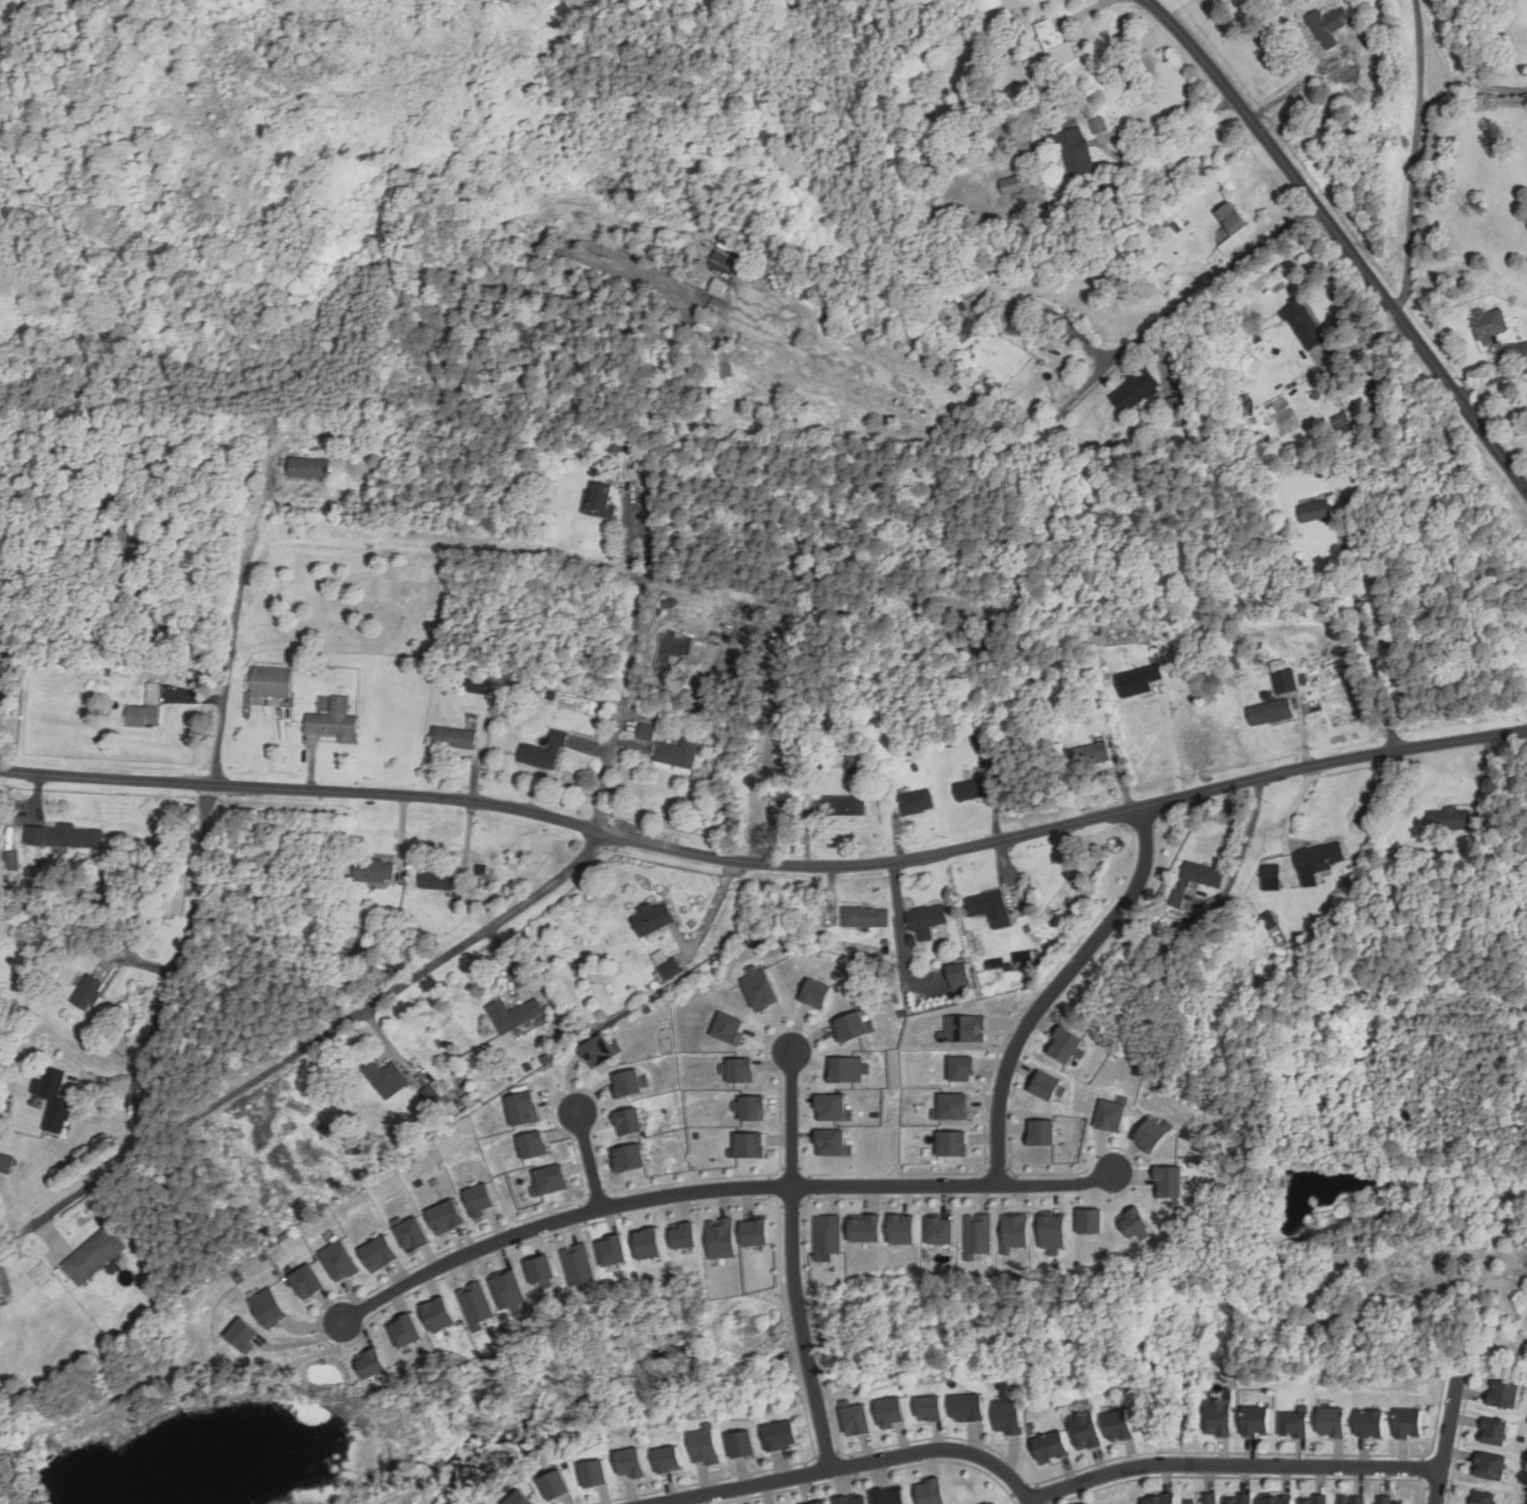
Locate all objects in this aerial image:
road: (1092, 10)
building: (1329, 26)
building: (1055, 44)
road: (1300, 86)
road: (1463, 87)
building: (1098, 124)
road: (1172, 134)
road: (1414, 156)
building: (1079, 158)
building: (1011, 185)
building: (1232, 217)
road: (1342, 239)
building: (1230, 245)
building: (724, 262)
building: (719, 287)
road: (1193, 297)
building: (969, 302)
building: (1304, 324)
building: (1488, 324)
building: (1021, 326)
road: (1492, 382)
building: (1136, 389)
building: (1177, 410)
building: (1342, 420)
building: (309, 467)
building: (600, 499)
building: (1315, 510)
building: (133, 553)
road: (1387, 678)
building: (1139, 680)
building: (1285, 680)
building: (271, 681)
building: (479, 685)
building: (146, 708)
building: (1270, 712)
building: (335, 721)
building: (646, 731)
building: (454, 737)
building: (978, 738)
road: (1172, 744)
building: (544, 751)
building: (678, 752)
building: (1090, 754)
building: (970, 789)
building: (917, 801)
building: (845, 805)
building: (1447, 818)
road: (1251, 826)
building: (67, 836)
road: (202, 842)
building: (12, 859)
building: (1318, 860)
road: (766, 863)
building: (374, 870)
building: (1271, 876)
building: (436, 877)
building: (1202, 877)
building: (990, 907)
building: (865, 916)
building: (927, 916)
building: (652, 917)
road: (708, 922)
road: (901, 924)
building: (1022, 958)
building: (670, 968)
building: (959, 971)
road: (418, 976)
building: (760, 988)
road: (1056, 988)
building: (87, 992)
building: (816, 993)
building: (514, 1014)
building: (853, 1026)
building: (730, 1028)
building: (964, 1028)
building: (1065, 1044)
building: (599, 1050)
building: (848, 1068)
building: (962, 1068)
building: (738, 1069)
building: (386, 1078)
building: (627, 1082)
building: (1046, 1085)
building: (435, 1095)
building: (53, 1100)
building: (524, 1107)
building: (750, 1107)
building: (834, 1107)
building: (952, 1107)
building: (1112, 1113)
building: (628, 1120)
building: (1041, 1132)
building: (1153, 1133)
building: (834, 1143)
building: (953, 1143)
building: (534, 1144)
building: (749, 1145)
building: (629, 1157)
road: (588, 1160)
building: (6, 1163)
building: (550, 1179)
building: (1169, 1181)
road: (714, 1190)
building: (479, 1199)
building: (446, 1216)
building: (1091, 1221)
building: (1135, 1223)
building: (866, 1227)
building: (903, 1229)
building: (940, 1229)
building: (756, 1231)
building: (1015, 1231)
building: (1053, 1231)
building: (411, 1232)
building: (684, 1234)
road: (793, 1234)
building: (978, 1234)
building: (828, 1236)
building: (722, 1237)
building: (648, 1242)
building: (612, 1250)
building: (379, 1253)
building: (94, 1255)
building: (339, 1259)
building: (578, 1264)
building: (542, 1271)
building: (1406, 1274)
building: (307, 1280)
building: (509, 1289)
building: (476, 1304)
building: (269, 1306)
building: (440, 1314)
building: (406, 1330)
building: (244, 1334)
building: (372, 1362)
road: (156, 1377)
building: (1503, 1394)
building: (931, 1407)
building: (968, 1407)
building: (891, 1411)
building: (1006, 1415)
building: (1218, 1417)
building: (856, 1418)
building: (1256, 1421)
building: (1332, 1422)
building: (1125, 1423)
building: (1370, 1423)
building: (1407, 1423)
building: (1295, 1424)
building: (1090, 1429)
building: (1493, 1431)
building: (781, 1434)
road: (1445, 1438)
building: (742, 1443)
road: (824, 1443)
building: (705, 1444)
building: (1050, 1446)
building: (668, 1458)
building: (631, 1462)
road: (852, 1465)
road: (1231, 1465)
building: (1490, 1466)
building: (595, 1472)
building: (556, 1484)
building: (930, 1491)
building: (887, 1497)
building: (1483, 1497)
building: (519, 1498)
building: (1164, 1498)
building: (1209, 1498)
building: (1244, 1498)
building: (1282, 1499)
building: (1316, 1499)
building: (853, 1500)
building: (1352, 1500)
building: (1387, 1500)
building: (817, 1502)
building: (994, 1502)

